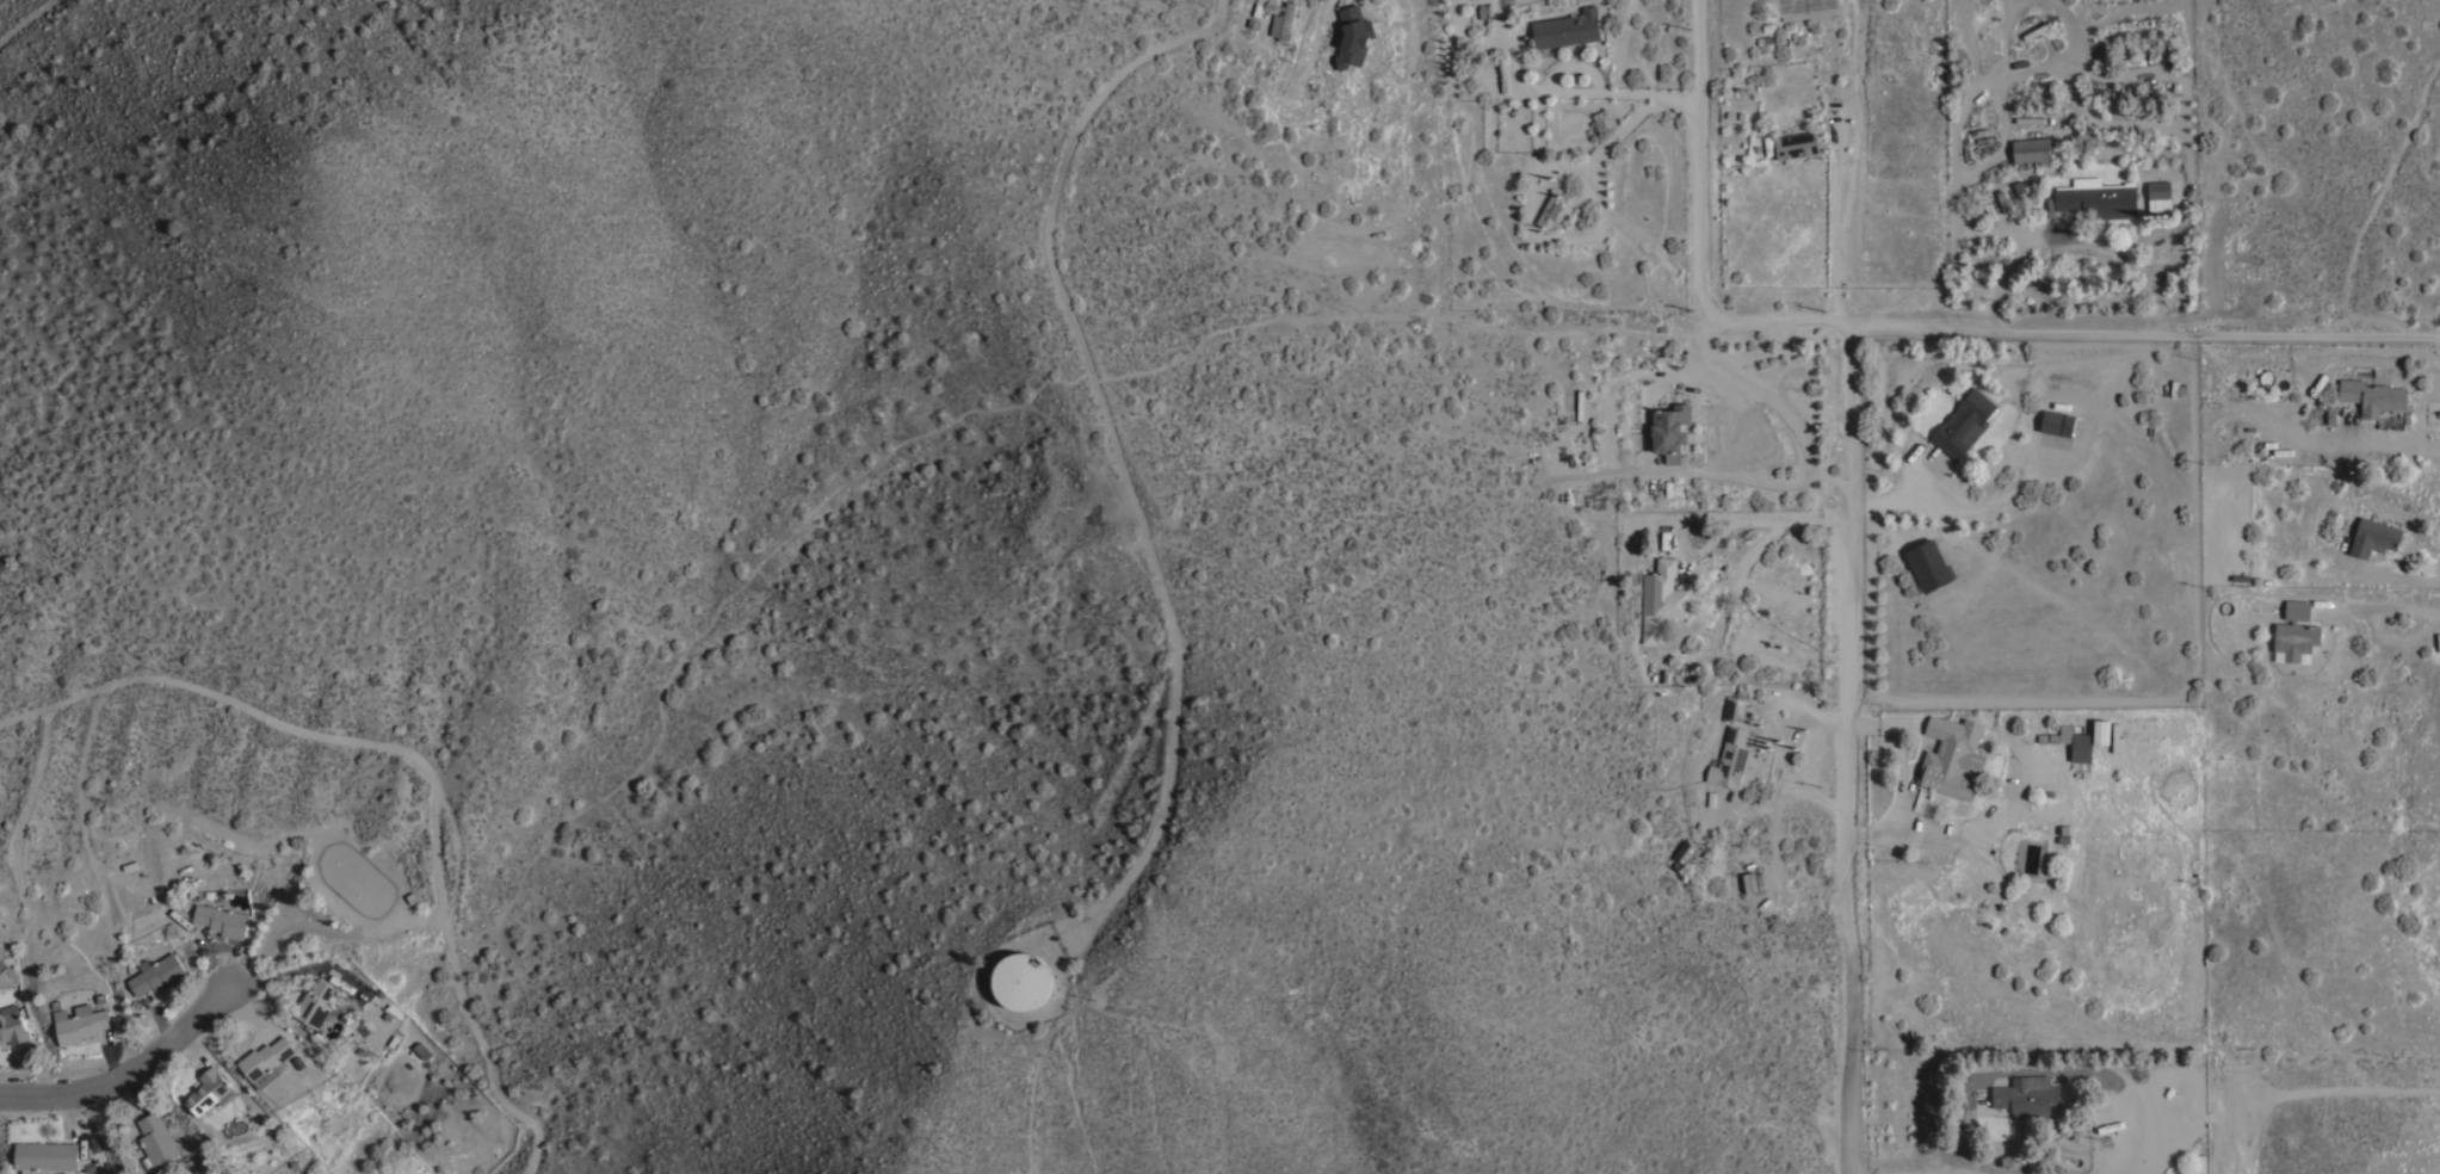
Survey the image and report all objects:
road: (27, 19)
building: (1287, 20)
building: (1275, 23)
building: (1567, 27)
building: (2036, 29)
building: (1353, 37)
road: (1699, 47)
road: (1579, 92)
building: (1796, 144)
building: (2031, 148)
building: (2158, 196)
building: (2096, 197)
building: (1549, 208)
road: (2033, 252)
road: (1695, 273)
road: (2143, 325)
building: (2371, 395)
road: (1753, 400)
building: (2057, 421)
building: (1964, 422)
building: (1670, 430)
road: (1765, 518)
building: (2373, 536)
road: (1151, 551)
building: (1929, 564)
building: (1661, 598)
road: (2380, 607)
building: (2294, 632)
building: (1688, 672)
building: (1734, 708)
building: (2100, 730)
building: (2146, 734)
building: (2076, 741)
road: (1845, 747)
building: (1952, 755)
building: (1730, 758)
road: (416, 762)
building: (1684, 851)
building: (222, 919)
road: (325, 933)
building: (157, 972)
building: (1023, 980)
building: (316, 1003)
building: (12, 1024)
building: (81, 1025)
building: (421, 1052)
building: (266, 1059)
road: (130, 1074)
building: (209, 1089)
building: (2026, 1094)
building: (157, 1137)
building: (47, 1156)
road: (1933, 1157)
building: (2200, 1163)

